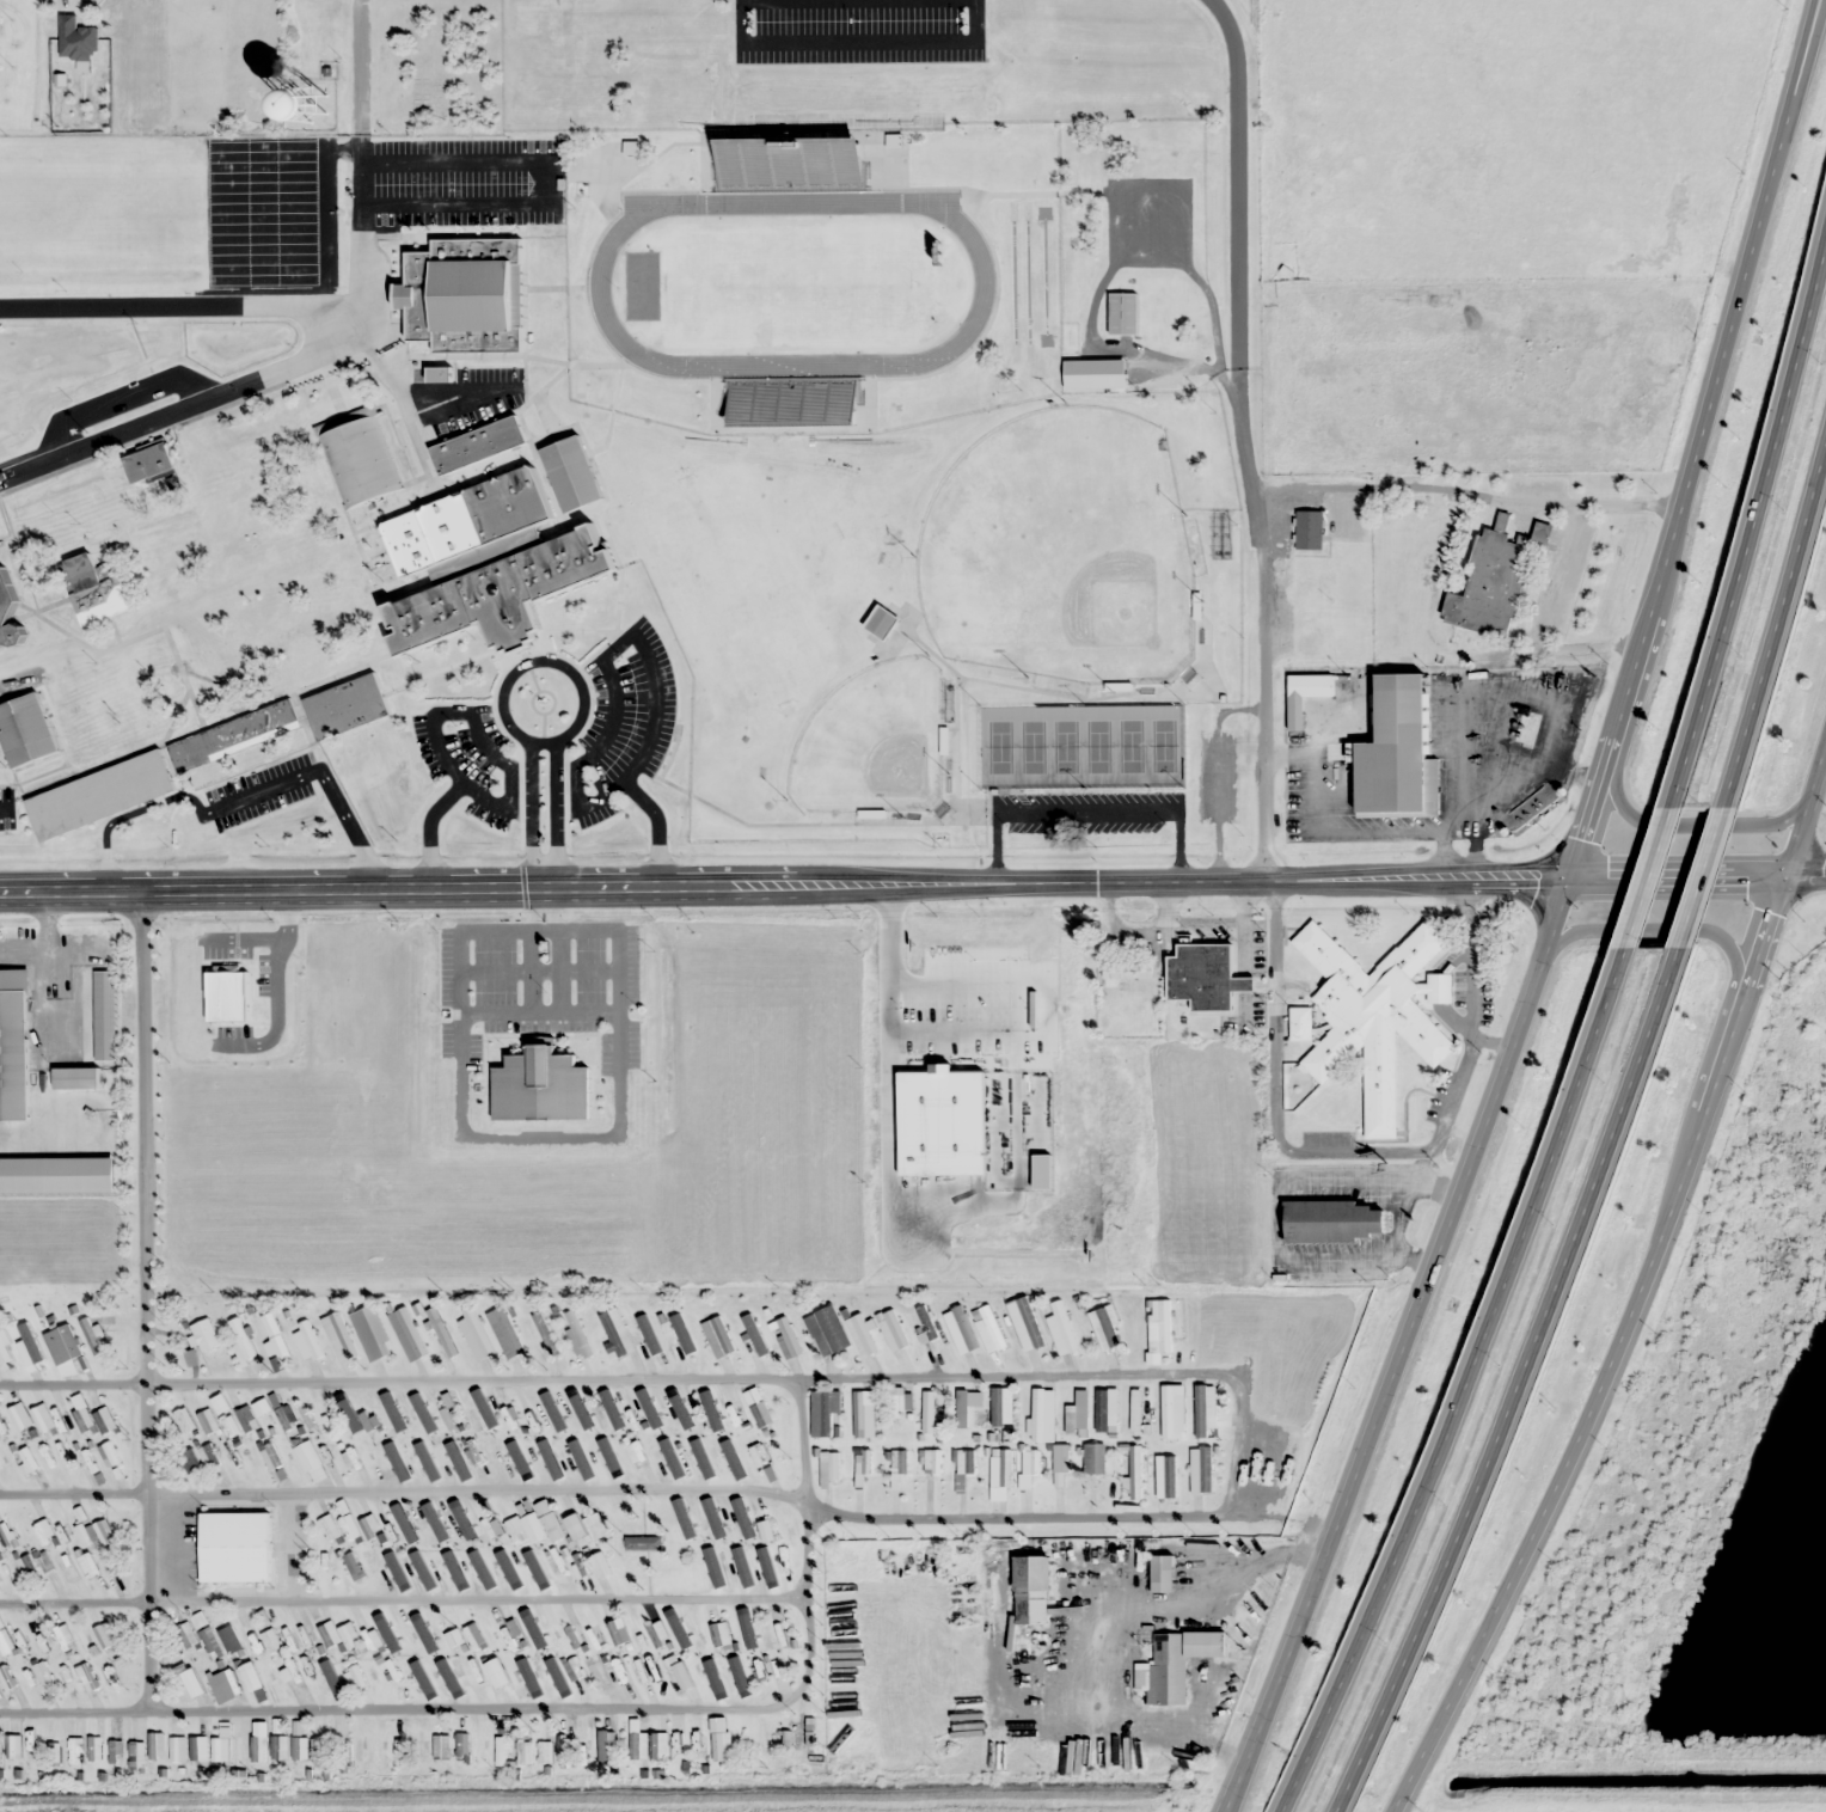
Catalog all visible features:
building: (76, 38)
road: (1796, 79)
building: (310, 104)
building: (740, 163)
track: (599, 286)
park: (791, 287)
building: (466, 296)
road: (331, 304)
building: (1123, 313)
building: (1070, 366)
road: (186, 402)
building: (779, 404)
building: (477, 445)
building: (148, 464)
building: (570, 473)
road: (1750, 519)
building: (1309, 529)
building: (281, 539)
building: (559, 563)
building: (1496, 577)
building: (96, 588)
building: (1309, 598)
building: (265, 612)
building: (7, 614)
building: (881, 622)
road: (1777, 623)
building: (1306, 645)
road: (1266, 686)
building: (1321, 686)
building: (1526, 728)
building: (25, 731)
building: (1401, 753)
building: (98, 795)
road: (1695, 820)
road: (1703, 875)
road: (1649, 876)
road: (1807, 877)
road: (893, 884)
road: (1552, 918)
road: (1660, 929)
building: (1126, 969)
building: (1206, 978)
building: (1375, 1015)
building: (1300, 1023)
building: (13, 1045)
building: (76, 1078)
building: (540, 1085)
building: (1334, 1222)
road: (139, 1237)
road: (1630, 1284)
building: (1025, 1323)
building: (1103, 1328)
building: (893, 1329)
building: (963, 1329)
building: (1061, 1329)
building: (441, 1330)
building: (544, 1330)
building: (826, 1330)
building: (370, 1333)
building: (204, 1334)
building: (408, 1334)
building: (577, 1334)
building: (994, 1334)
building: (92, 1335)
building: (789, 1335)
building: (860, 1335)
building: (338, 1336)
building: (648, 1336)
building: (718, 1336)
building: (274, 1337)
building: (306, 1337)
building: (474, 1337)
building: (65, 1342)
building: (241, 1342)
building: (686, 1342)
building: (4, 1351)
road: (1465, 1384)
road: (1518, 1384)
building: (997, 1404)
building: (961, 1407)
building: (1107, 1409)
building: (1135, 1409)
building: (927, 1410)
building: (1205, 1410)
building: (823, 1412)
building: (280, 1413)
building: (1077, 1413)
building: (1172, 1413)
building: (304, 1414)
building: (1037, 1414)
building: (490, 1415)
building: (20, 1416)
building: (590, 1416)
building: (863, 1416)
building: (2, 1418)
building: (43, 1418)
building: (246, 1418)
building: (511, 1418)
building: (552, 1418)
building: (84, 1419)
building: (104, 1419)
building: (184, 1420)
building: (329, 1420)
building: (208, 1422)
building: (229, 1424)
building: (452, 1449)
building: (47, 1453)
building: (108, 1453)
building: (578, 1453)
building: (759, 1453)
building: (535, 1455)
building: (208, 1456)
building: (270, 1456)
building: (516, 1456)
building: (351, 1457)
building: (1093, 1457)
building: (1061, 1458)
building: (25, 1459)
building: (317, 1459)
building: (189, 1461)
building: (899, 1461)
building: (932, 1461)
building: (964, 1461)
building: (1030, 1461)
building: (831, 1462)
building: (860, 1468)
building: (1000, 1468)
building: (1201, 1469)
building: (1134, 1474)
building: (0, 1483)
building: (549, 1522)
building: (471, 1524)
building: (514, 1525)
building: (370, 1526)
building: (575, 1526)
building: (595, 1526)
building: (329, 1528)
building: (451, 1528)
building: (96, 1532)
building: (6, 1534)
building: (643, 1542)
building: (234, 1547)
building: (87, 1565)
building: (111, 1566)
building: (599, 1566)
road: (66, 1580)
road: (314, 1583)
building: (1031, 1588)
building: (617, 1632)
building: (338, 1634)
building: (656, 1634)
building: (102, 1635)
building: (185, 1635)
building: (722, 1635)
building: (572, 1636)
building: (228, 1637)
building: (453, 1637)
building: (477, 1639)
building: (84, 1640)
building: (208, 1640)
building: (373, 1640)
building: (6, 1645)
building: (572, 1669)
building: (1168, 1669)
building: (556, 1670)
building: (390, 1671)
building: (496, 1672)
building: (43, 1673)
building: (109, 1675)
building: (290, 1675)
building: (617, 1675)
building: (682, 1676)
building: (6, 1678)
building: (354, 1678)
building: (195, 1683)
road: (149, 1695)
road: (1270, 1698)
building: (31, 1739)
building: (719, 1740)
building: (14, 1745)
building: (157, 1745)
building: (564, 1745)
building: (606, 1745)
building: (638, 1745)
building: (658, 1745)
building: (278, 1746)
building: (441, 1746)
building: (94, 1747)
building: (253, 1747)
building: (300, 1747)
building: (116, 1749)
building: (318, 1749)
building: (75, 1750)
building: (220, 1750)
building: (503, 1750)
building: (343, 1751)
building: (544, 1751)
building: (402, 1752)
building: (523, 1752)
building: (53, 1753)
building: (136, 1755)
road: (1398, 1801)

